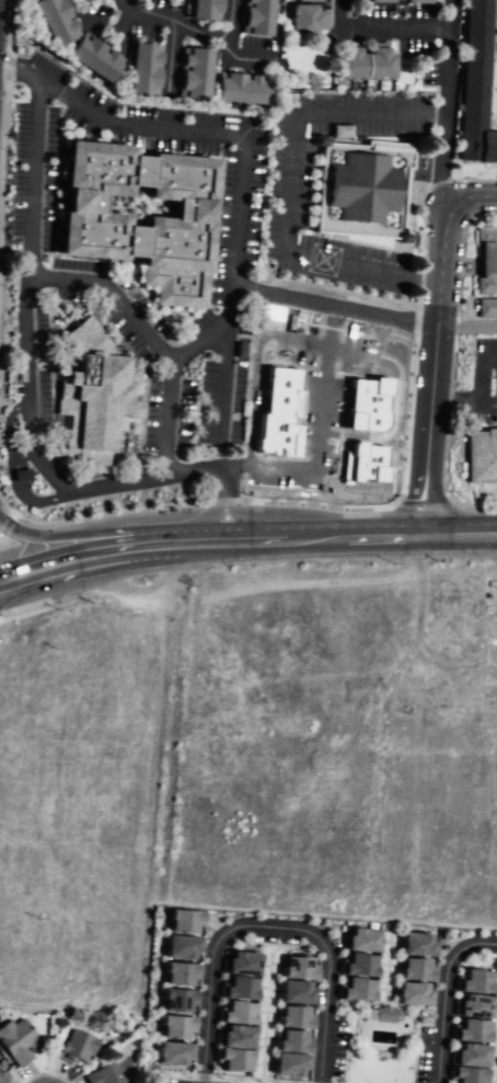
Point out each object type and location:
building: (305, 1)
building: (378, 1)
building: (415, 1)
building: (201, 10)
road: (338, 11)
building: (477, 16)
building: (254, 20)
building: (51, 21)
building: (302, 21)
road: (393, 24)
parking lot: (194, 32)
parking lot: (406, 35)
road: (200, 38)
road: (251, 53)
building: (92, 59)
road: (19, 65)
building: (346, 65)
building: (375, 65)
building: (139, 70)
building: (192, 76)
building: (235, 90)
road: (4, 98)
road: (446, 101)
building: (475, 103)
road: (134, 121)
road: (371, 126)
road: (292, 186)
building: (361, 187)
parking lot: (354, 193)
road: (4, 197)
road: (35, 197)
road: (236, 210)
building: (93, 220)
building: (354, 259)
building: (486, 259)
road: (362, 269)
road: (72, 280)
road: (333, 307)
building: (486, 307)
road: (417, 319)
parking lot: (181, 320)
road: (466, 326)
road: (211, 333)
road: (435, 340)
road: (326, 341)
road: (26, 353)
road: (477, 368)
parking lot: (477, 372)
road: (221, 385)
building: (282, 390)
road: (253, 391)
building: (366, 392)
building: (88, 396)
road: (465, 400)
building: (365, 417)
road: (391, 424)
building: (276, 434)
road: (319, 437)
building: (482, 457)
building: (363, 463)
road: (14, 468)
road: (192, 472)
road: (77, 490)
road: (287, 502)
road: (423, 504)
road: (476, 506)
road: (4, 509)
road: (222, 509)
road: (5, 522)
road: (460, 533)
road: (383, 535)
road: (54, 537)
road: (314, 537)
road: (253, 540)
road: (199, 543)
road: (157, 547)
road: (123, 551)
road: (54, 567)
road: (23, 607)
building: (178, 921)
road: (267, 930)
building: (358, 941)
building: (414, 944)
building: (176, 947)
building: (238, 964)
building: (357, 965)
building: (293, 968)
building: (411, 970)
building: (176, 974)
building: (472, 982)
building: (236, 989)
building: (355, 990)
road: (438, 991)
building: (293, 992)
building: (411, 995)
building: (173, 1001)
building: (471, 1006)
building: (234, 1013)
building: (385, 1014)
building: (289, 1017)
building: (171, 1028)
building: (467, 1031)
building: (232, 1038)
building: (288, 1041)
building: (15, 1042)
building: (72, 1047)
building: (170, 1056)
building: (466, 1057)
building: (230, 1061)
building: (286, 1065)
building: (108, 1074)
building: (463, 1076)
building: (2, 1080)

